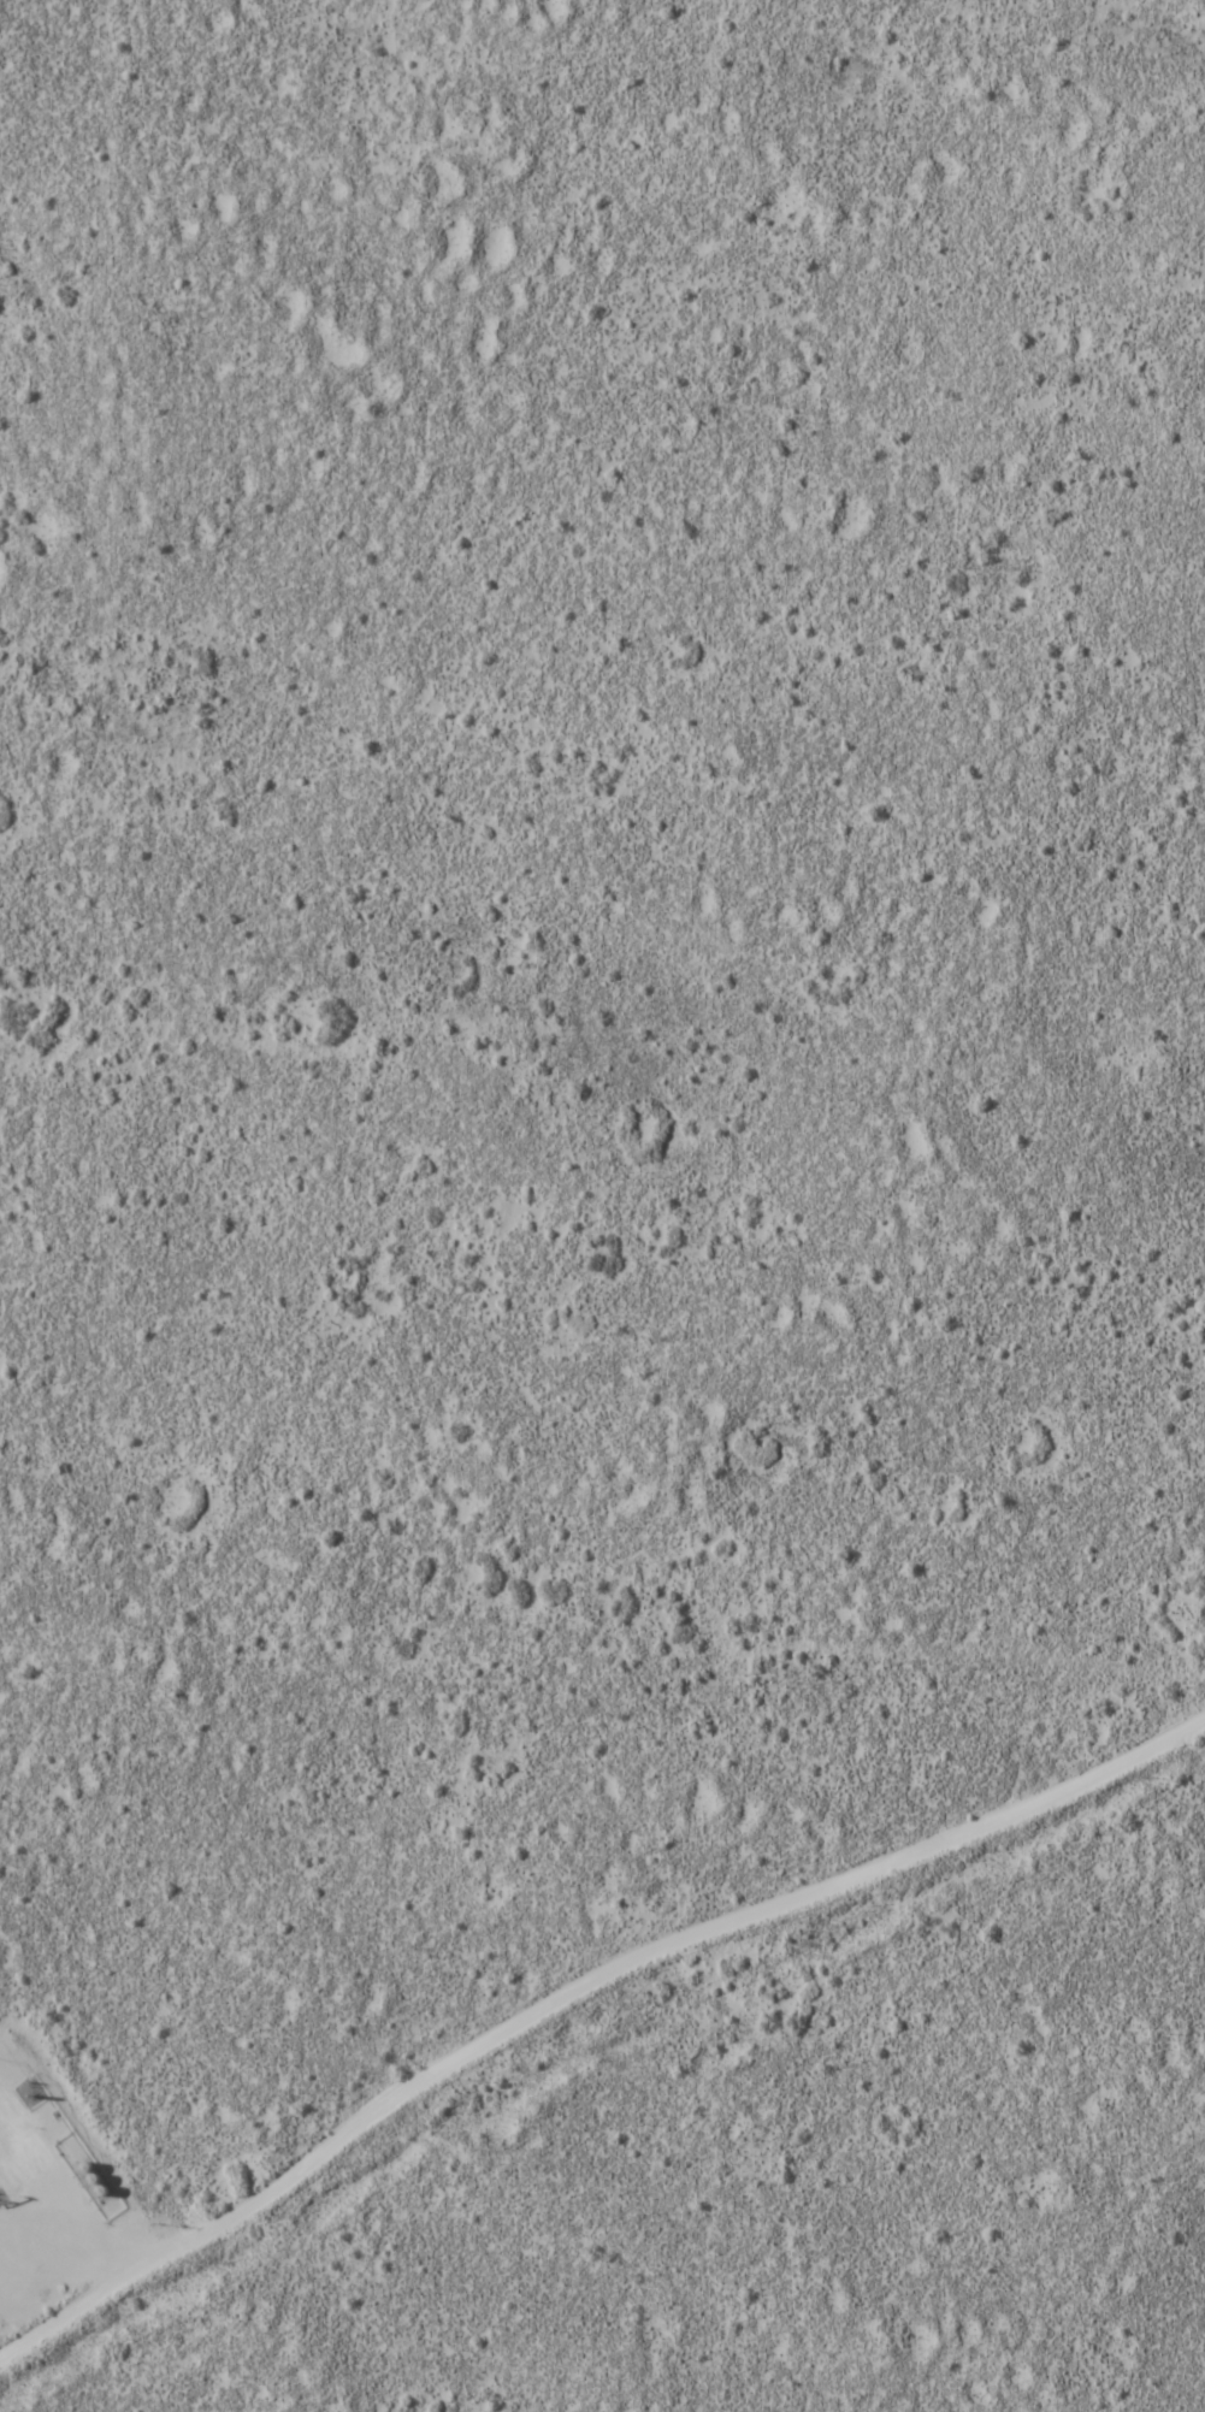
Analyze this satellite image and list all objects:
road: (574, 1979)

